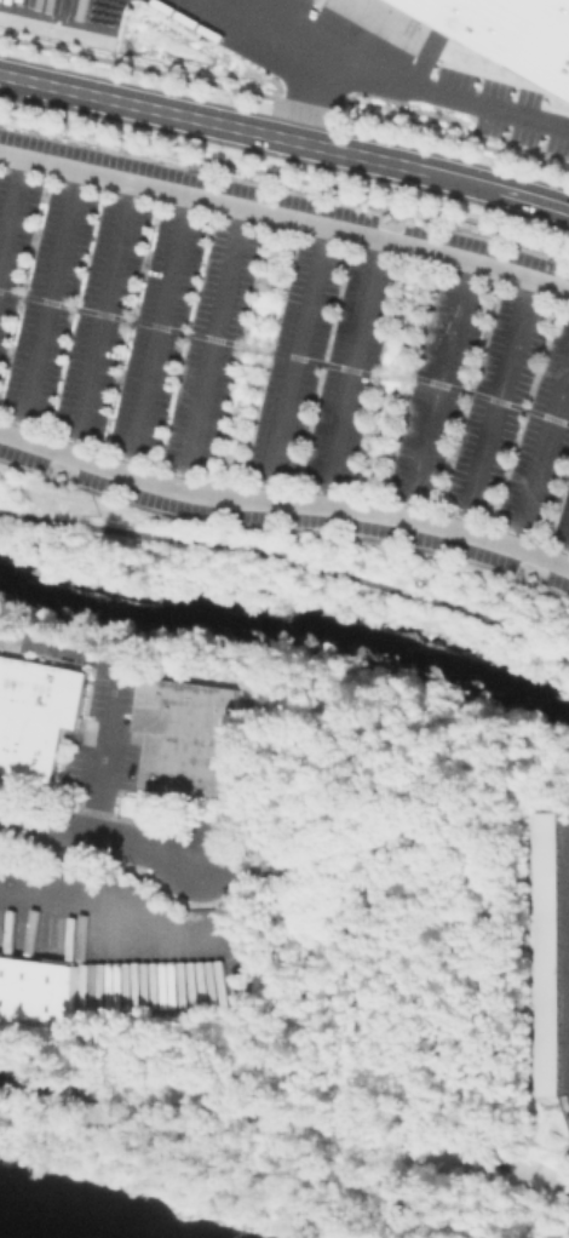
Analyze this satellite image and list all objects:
building: (510, 33)
road: (398, 80)
road: (308, 91)
road: (284, 139)
road: (11, 211)
building: (385, 214)
road: (286, 217)
road: (50, 303)
road: (102, 319)
road: (157, 334)
road: (213, 349)
parking lot: (282, 359)
road: (297, 362)
road: (352, 371)
road: (438, 388)
road: (496, 405)
road: (540, 460)
building: (61, 474)
road: (283, 499)
road: (565, 557)
road: (291, 560)
building: (534, 578)
building: (38, 715)
building: (191, 732)
road: (110, 767)
road: (123, 842)
road: (71, 870)
building: (541, 953)
building: (33, 990)

